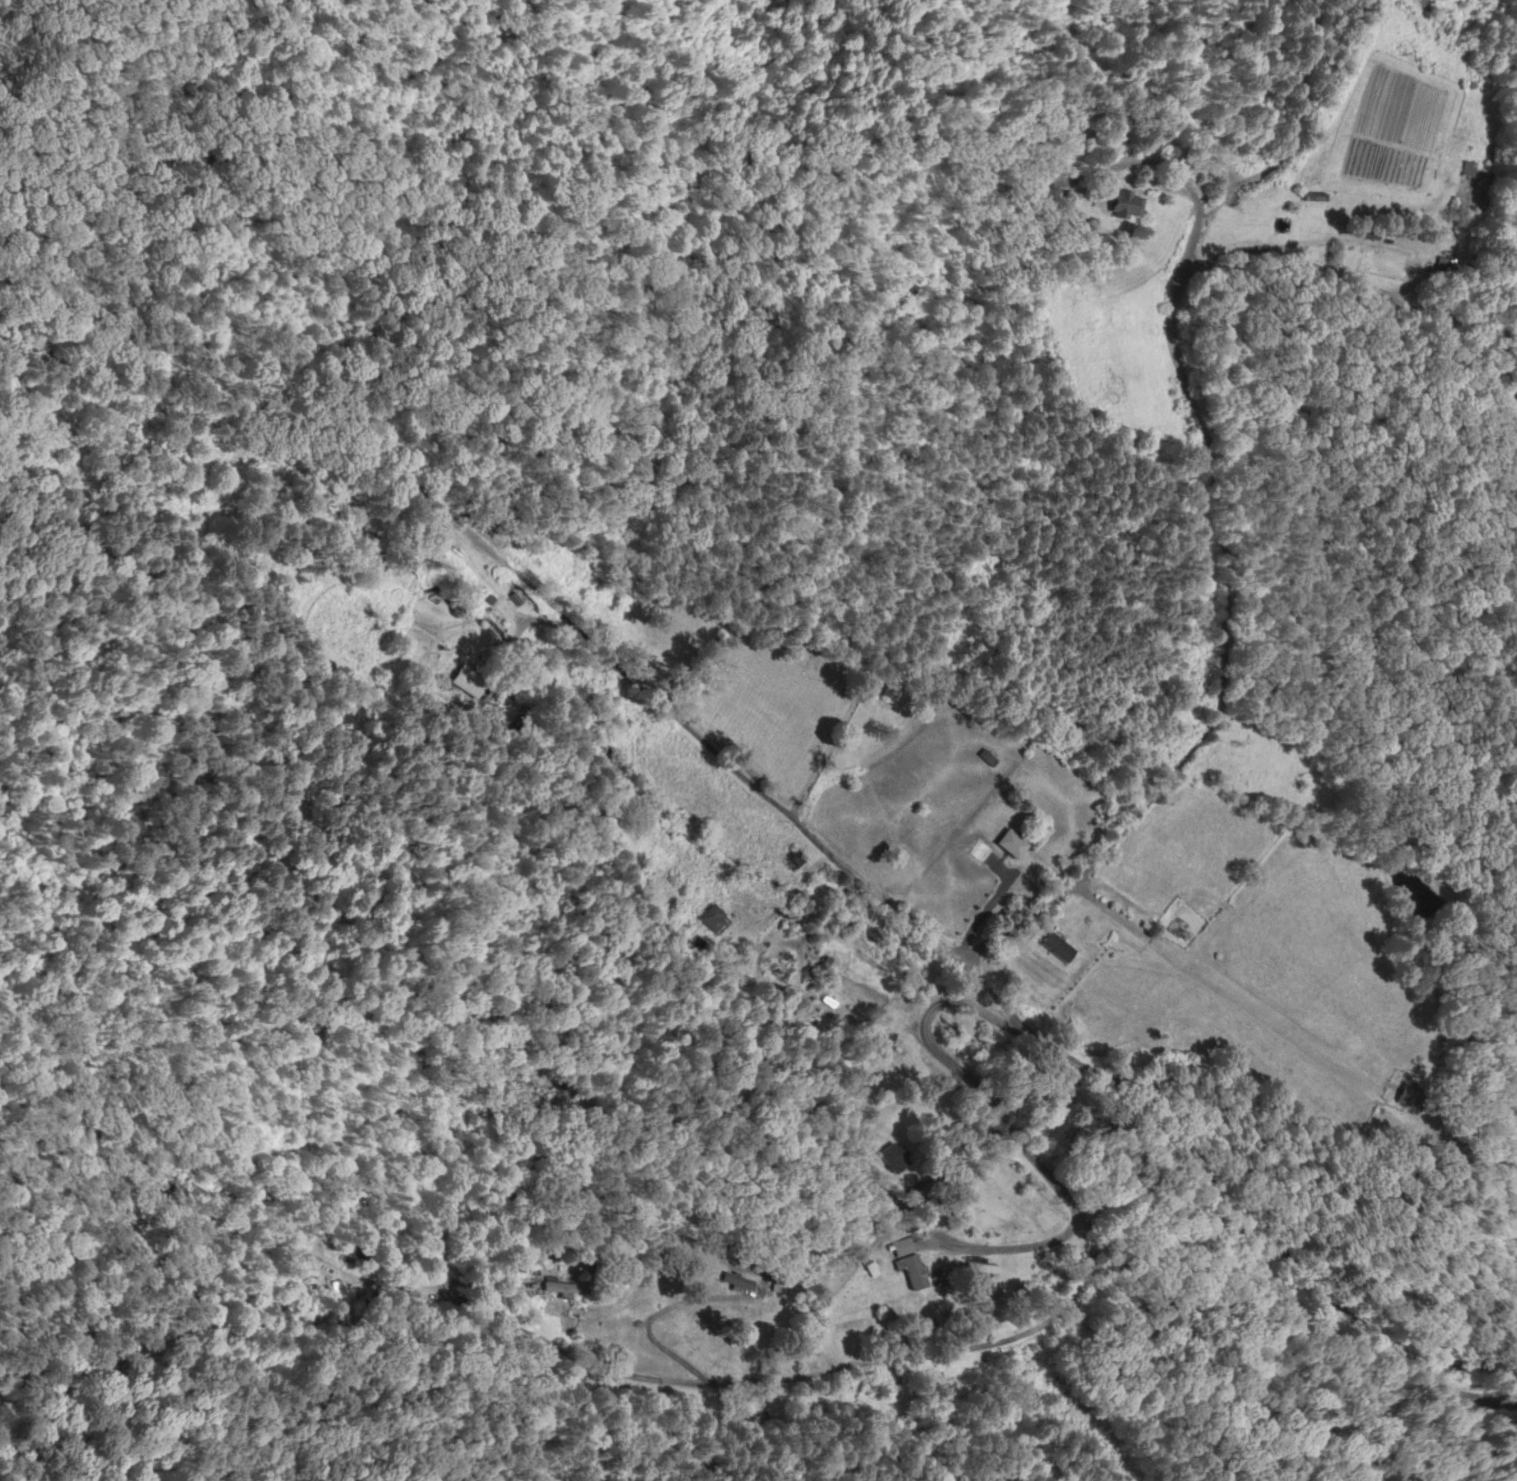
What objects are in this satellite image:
building: (1467, 168)
building: (1050, 196)
building: (1123, 204)
building: (1445, 267)
road: (1211, 504)
building: (891, 687)
building: (987, 756)
road: (760, 792)
building: (1011, 843)
building: (713, 919)
building: (1056, 946)
building: (1412, 1095)
building: (907, 1261)
building: (312, 1278)
building: (737, 1280)
building: (557, 1286)
road: (1067, 1304)
road: (561, 1355)

